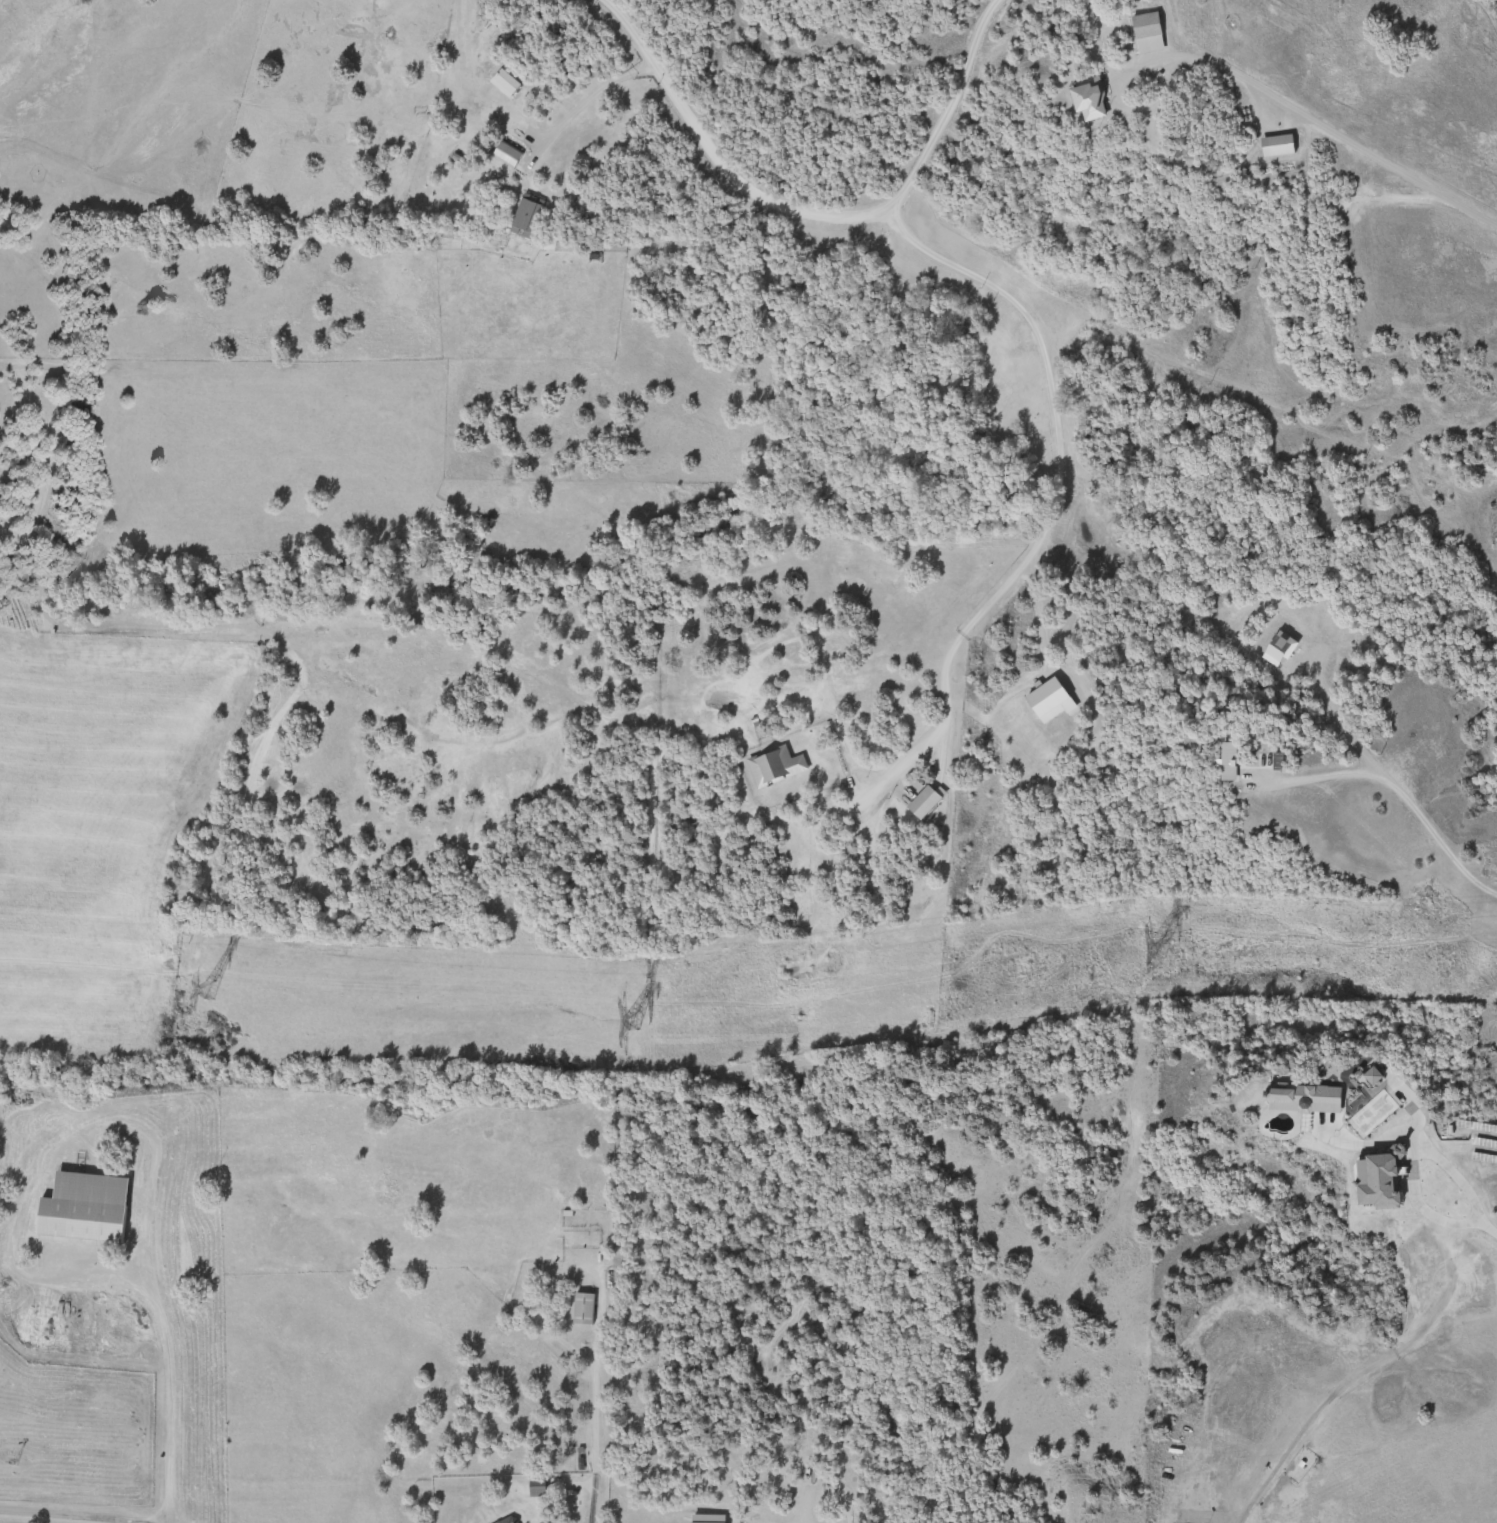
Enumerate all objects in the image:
building: (1149, 26)
road: (587, 100)
road: (1316, 122)
building: (1282, 146)
building: (508, 156)
building: (529, 214)
road: (811, 214)
road: (1055, 448)
road: (1338, 720)
building: (776, 765)
road: (1394, 791)
power tower: (1157, 951)
power tower: (206, 991)
power tower: (630, 1021)
building: (1382, 1075)
building: (1386, 1179)
road: (1466, 1196)
building: (87, 1208)
building: (585, 1308)
road: (1363, 1367)
road: (164, 1405)
building: (538, 1488)
road: (68, 1517)
building: (511, 1520)

